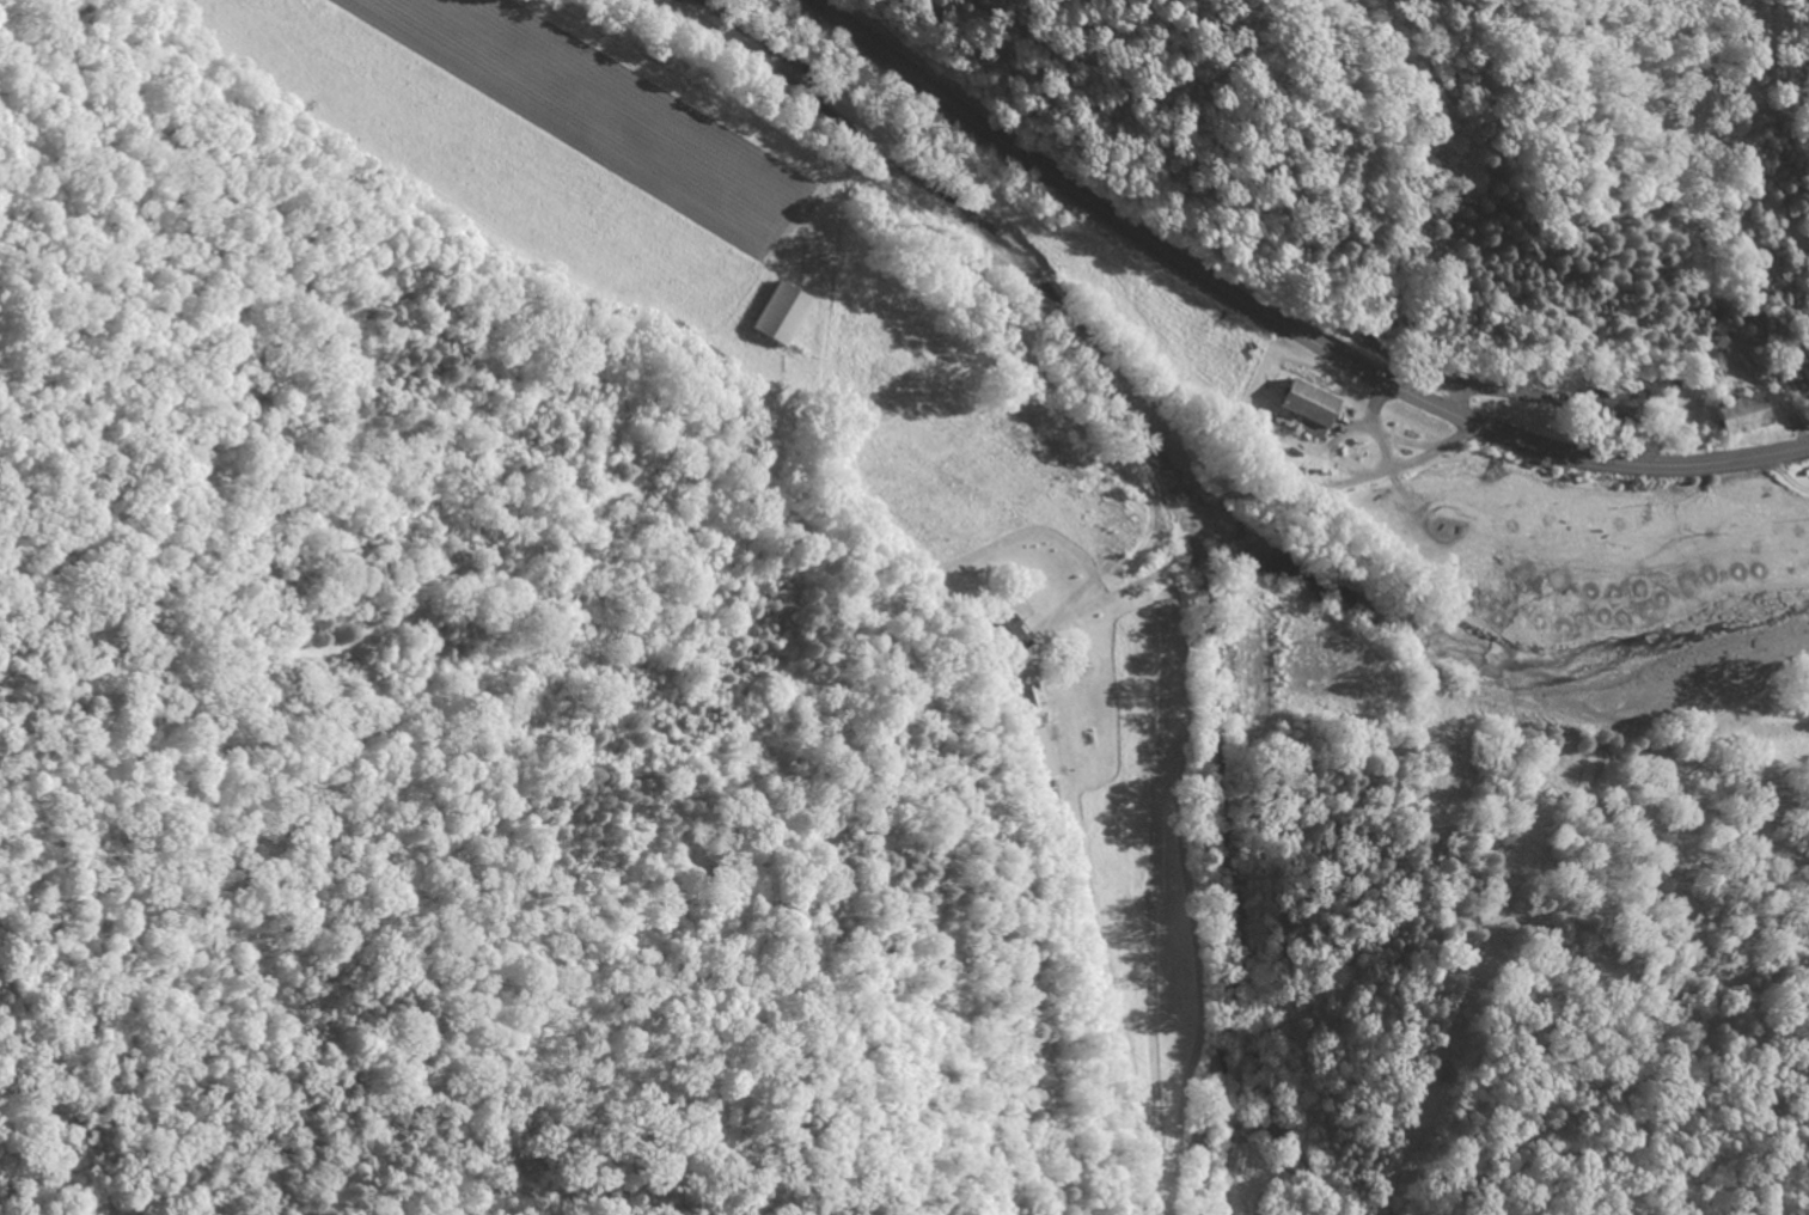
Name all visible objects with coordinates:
building: (781, 315)
road: (1277, 322)
building: (1309, 404)
building: (1738, 415)
road: (1357, 513)

